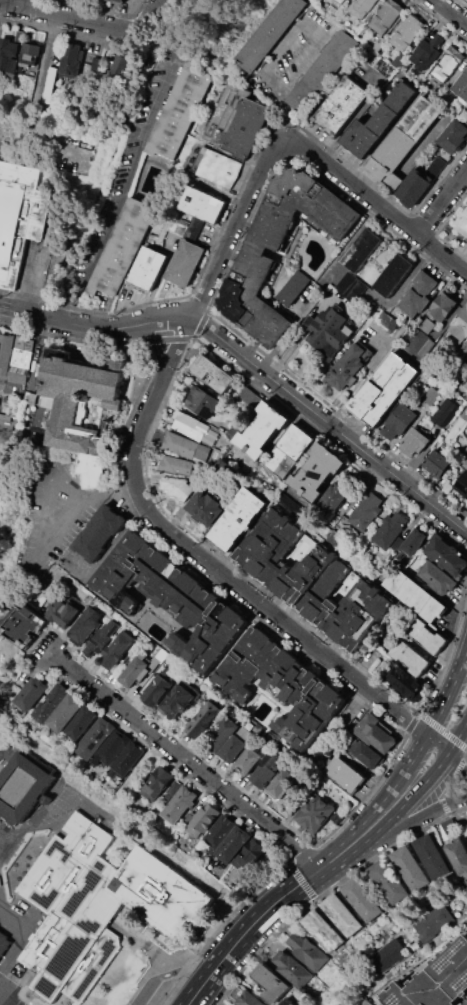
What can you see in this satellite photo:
building: (119, 1)
road: (18, 2)
building: (337, 3)
building: (361, 7)
road: (452, 12)
road: (67, 14)
road: (148, 15)
building: (386, 16)
road: (303, 22)
road: (152, 23)
parking lot: (0, 25)
road: (149, 28)
road: (165, 32)
building: (406, 32)
building: (269, 33)
road: (162, 37)
building: (17, 52)
parking lot: (294, 52)
building: (426, 54)
building: (71, 59)
building: (400, 62)
building: (122, 64)
building: (380, 64)
building: (446, 64)
building: (96, 68)
building: (321, 71)
road: (251, 80)
building: (460, 84)
building: (341, 105)
building: (466, 108)
road: (356, 110)
building: (176, 113)
road: (282, 114)
building: (236, 121)
building: (377, 122)
building: (453, 136)
building: (403, 140)
road: (301, 145)
building: (217, 166)
road: (120, 180)
building: (413, 187)
building: (202, 205)
building: (18, 217)
building: (462, 221)
building: (176, 227)
road: (214, 236)
road: (346, 243)
building: (121, 246)
building: (361, 250)
road: (441, 255)
building: (255, 258)
building: (185, 263)
building: (147, 268)
building: (393, 275)
road: (34, 281)
building: (294, 287)
building: (352, 288)
building: (418, 293)
building: (442, 305)
building: (385, 320)
building: (459, 324)
building: (329, 330)
building: (420, 338)
building: (23, 343)
building: (464, 347)
road: (156, 348)
road: (177, 349)
building: (5, 351)
building: (20, 358)
road: (253, 363)
building: (344, 368)
building: (17, 370)
building: (213, 373)
building: (17, 378)
building: (2, 383)
building: (465, 384)
building: (384, 388)
building: (14, 389)
building: (430, 395)
building: (250, 397)
building: (6, 399)
building: (81, 400)
building: (202, 402)
building: (443, 412)
building: (464, 414)
building: (398, 421)
building: (193, 427)
building: (263, 429)
building: (232, 431)
building: (415, 442)
building: (222, 443)
building: (1, 445)
building: (186, 447)
building: (289, 451)
building: (437, 463)
building: (235, 464)
building: (465, 464)
building: (176, 465)
building: (92, 470)
building: (318, 471)
building: (462, 484)
building: (177, 488)
road: (122, 492)
building: (333, 497)
building: (205, 507)
building: (365, 512)
road: (48, 513)
building: (302, 515)
parking lot: (58, 516)
building: (237, 518)
building: (389, 531)
building: (99, 532)
building: (411, 542)
road: (106, 546)
building: (447, 554)
road: (40, 562)
building: (438, 576)
building: (313, 578)
road: (232, 580)
building: (415, 594)
building: (167, 598)
building: (62, 612)
building: (84, 624)
building: (23, 625)
road: (42, 632)
building: (101, 636)
building: (428, 637)
building: (115, 649)
road: (40, 655)
road: (51, 655)
building: (409, 656)
building: (158, 658)
building: (133, 673)
building: (402, 681)
building: (279, 686)
building: (156, 689)
building: (30, 694)
road: (448, 694)
building: (178, 700)
building: (51, 703)
building: (65, 713)
building: (202, 719)
building: (81, 722)
road: (434, 725)
building: (375, 732)
building: (97, 734)
building: (218, 735)
road: (438, 745)
building: (113, 747)
building: (232, 749)
building: (365, 753)
building: (128, 758)
building: (248, 760)
road: (456, 763)
road: (188, 764)
building: (267, 768)
road: (404, 770)
road: (434, 771)
building: (345, 774)
road: (449, 782)
building: (156, 783)
building: (282, 784)
building: (174, 787)
building: (23, 792)
building: (178, 803)
building: (314, 813)
building: (203, 819)
road: (411, 820)
road: (29, 822)
building: (447, 826)
building: (219, 831)
building: (234, 843)
building: (251, 853)
building: (430, 856)
building: (458, 856)
building: (409, 867)
building: (388, 881)
road: (280, 898)
building: (362, 899)
building: (97, 907)
building: (341, 914)
building: (436, 924)
building: (322, 930)
road: (21, 941)
building: (6, 943)
building: (308, 953)
building: (387, 954)
building: (291, 969)
road: (173, 972)
building: (437, 980)
building: (270, 982)
parking lot: (10, 998)
building: (250, 999)
building: (366, 1003)
building: (230, 1004)
building: (233, 1004)

